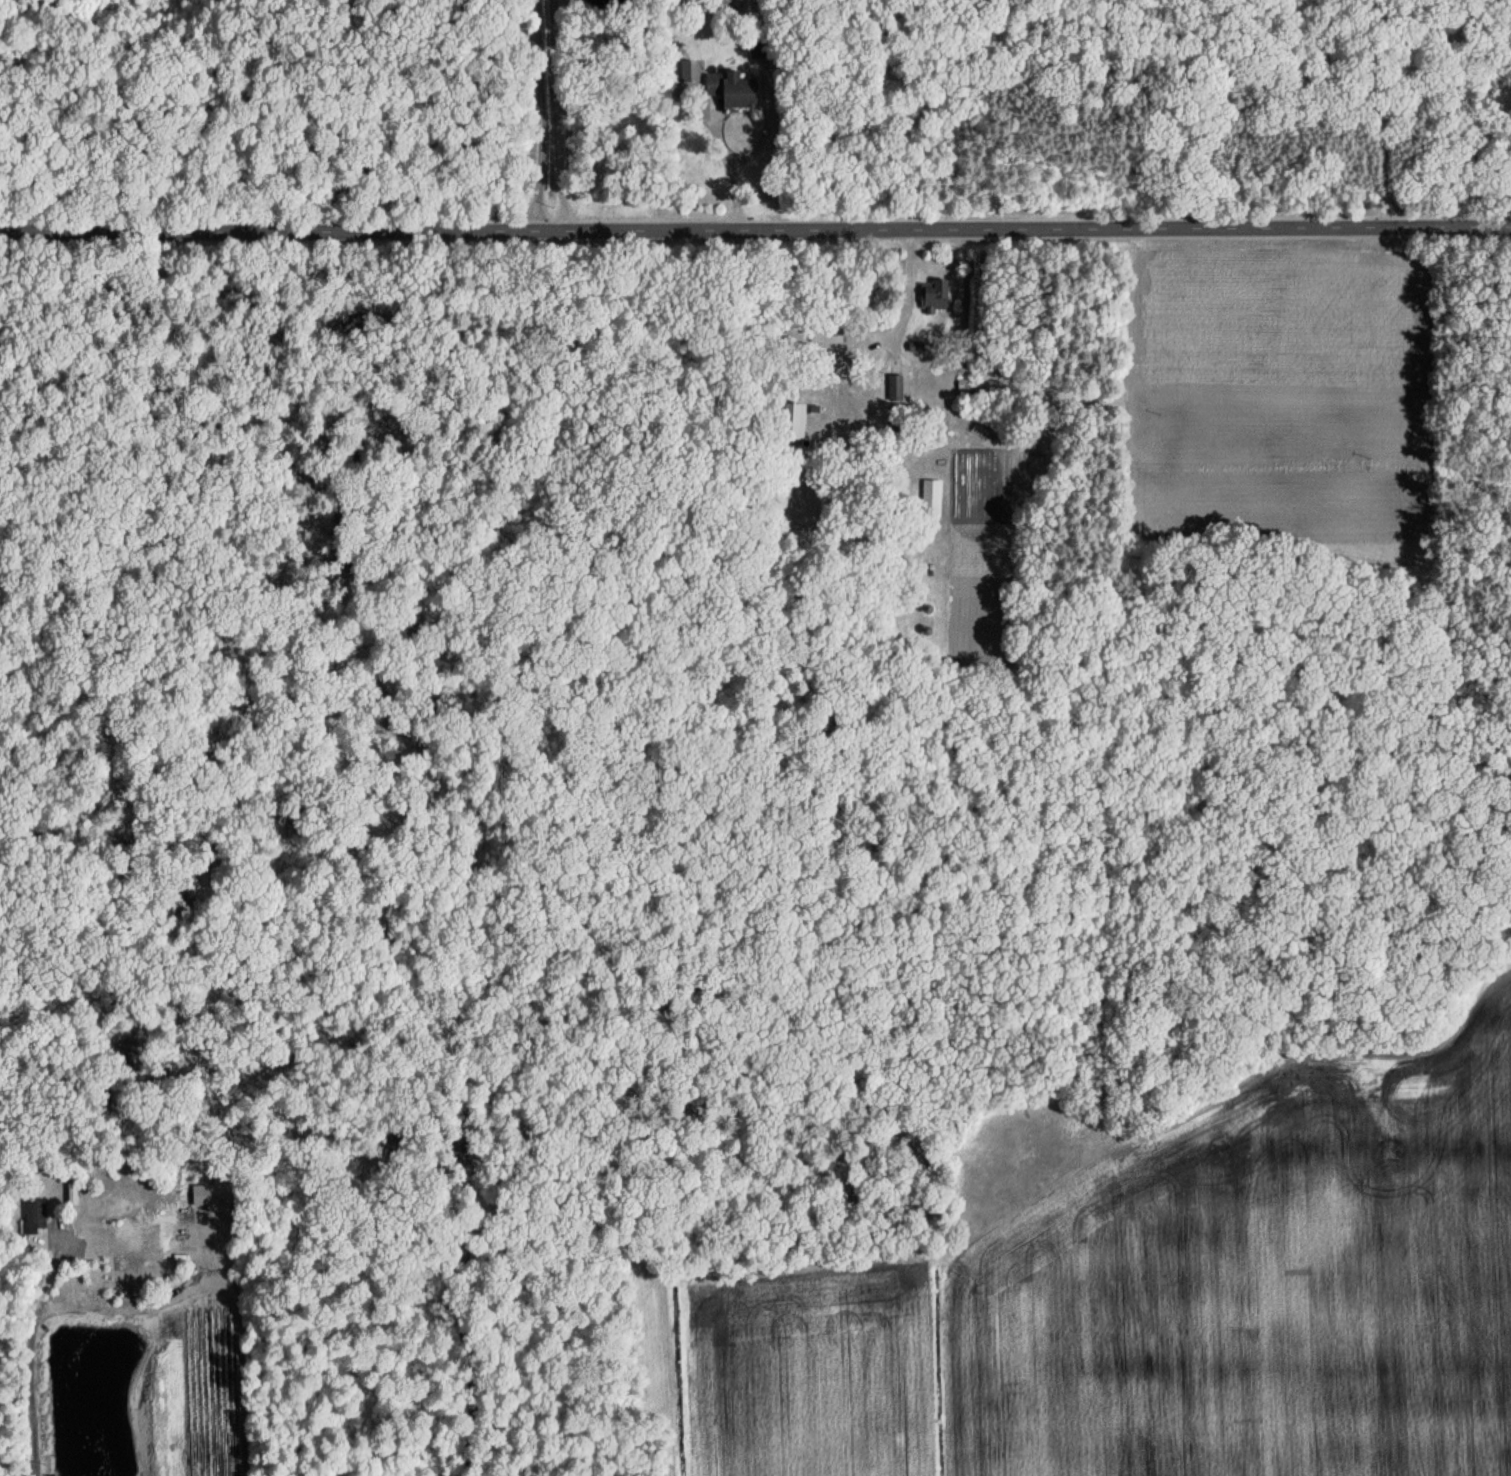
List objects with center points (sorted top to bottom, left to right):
building: (683, 70)
building: (733, 89)
road: (1377, 114)
road: (542, 116)
road: (560, 116)
road: (731, 173)
road: (755, 231)
road: (908, 291)
building: (933, 295)
building: (833, 334)
building: (895, 387)
building: (931, 498)
building: (204, 1195)
building: (35, 1215)
crop: (1146, 1293)
road: (72, 1313)
crop: (136, 1389)

